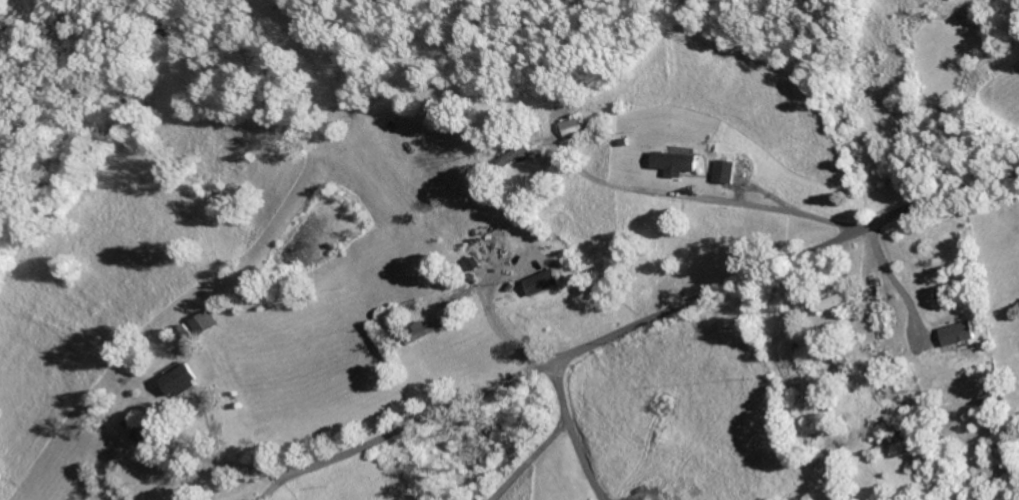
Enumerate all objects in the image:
building: (575, 126)
building: (517, 155)
building: (679, 162)
building: (728, 171)
road: (720, 202)
road: (897, 277)
building: (545, 281)
building: (838, 298)
road: (656, 313)
building: (206, 322)
building: (187, 333)
building: (961, 333)
building: (182, 381)
road: (546, 439)
road: (580, 460)
road: (241, 466)
road: (281, 483)

